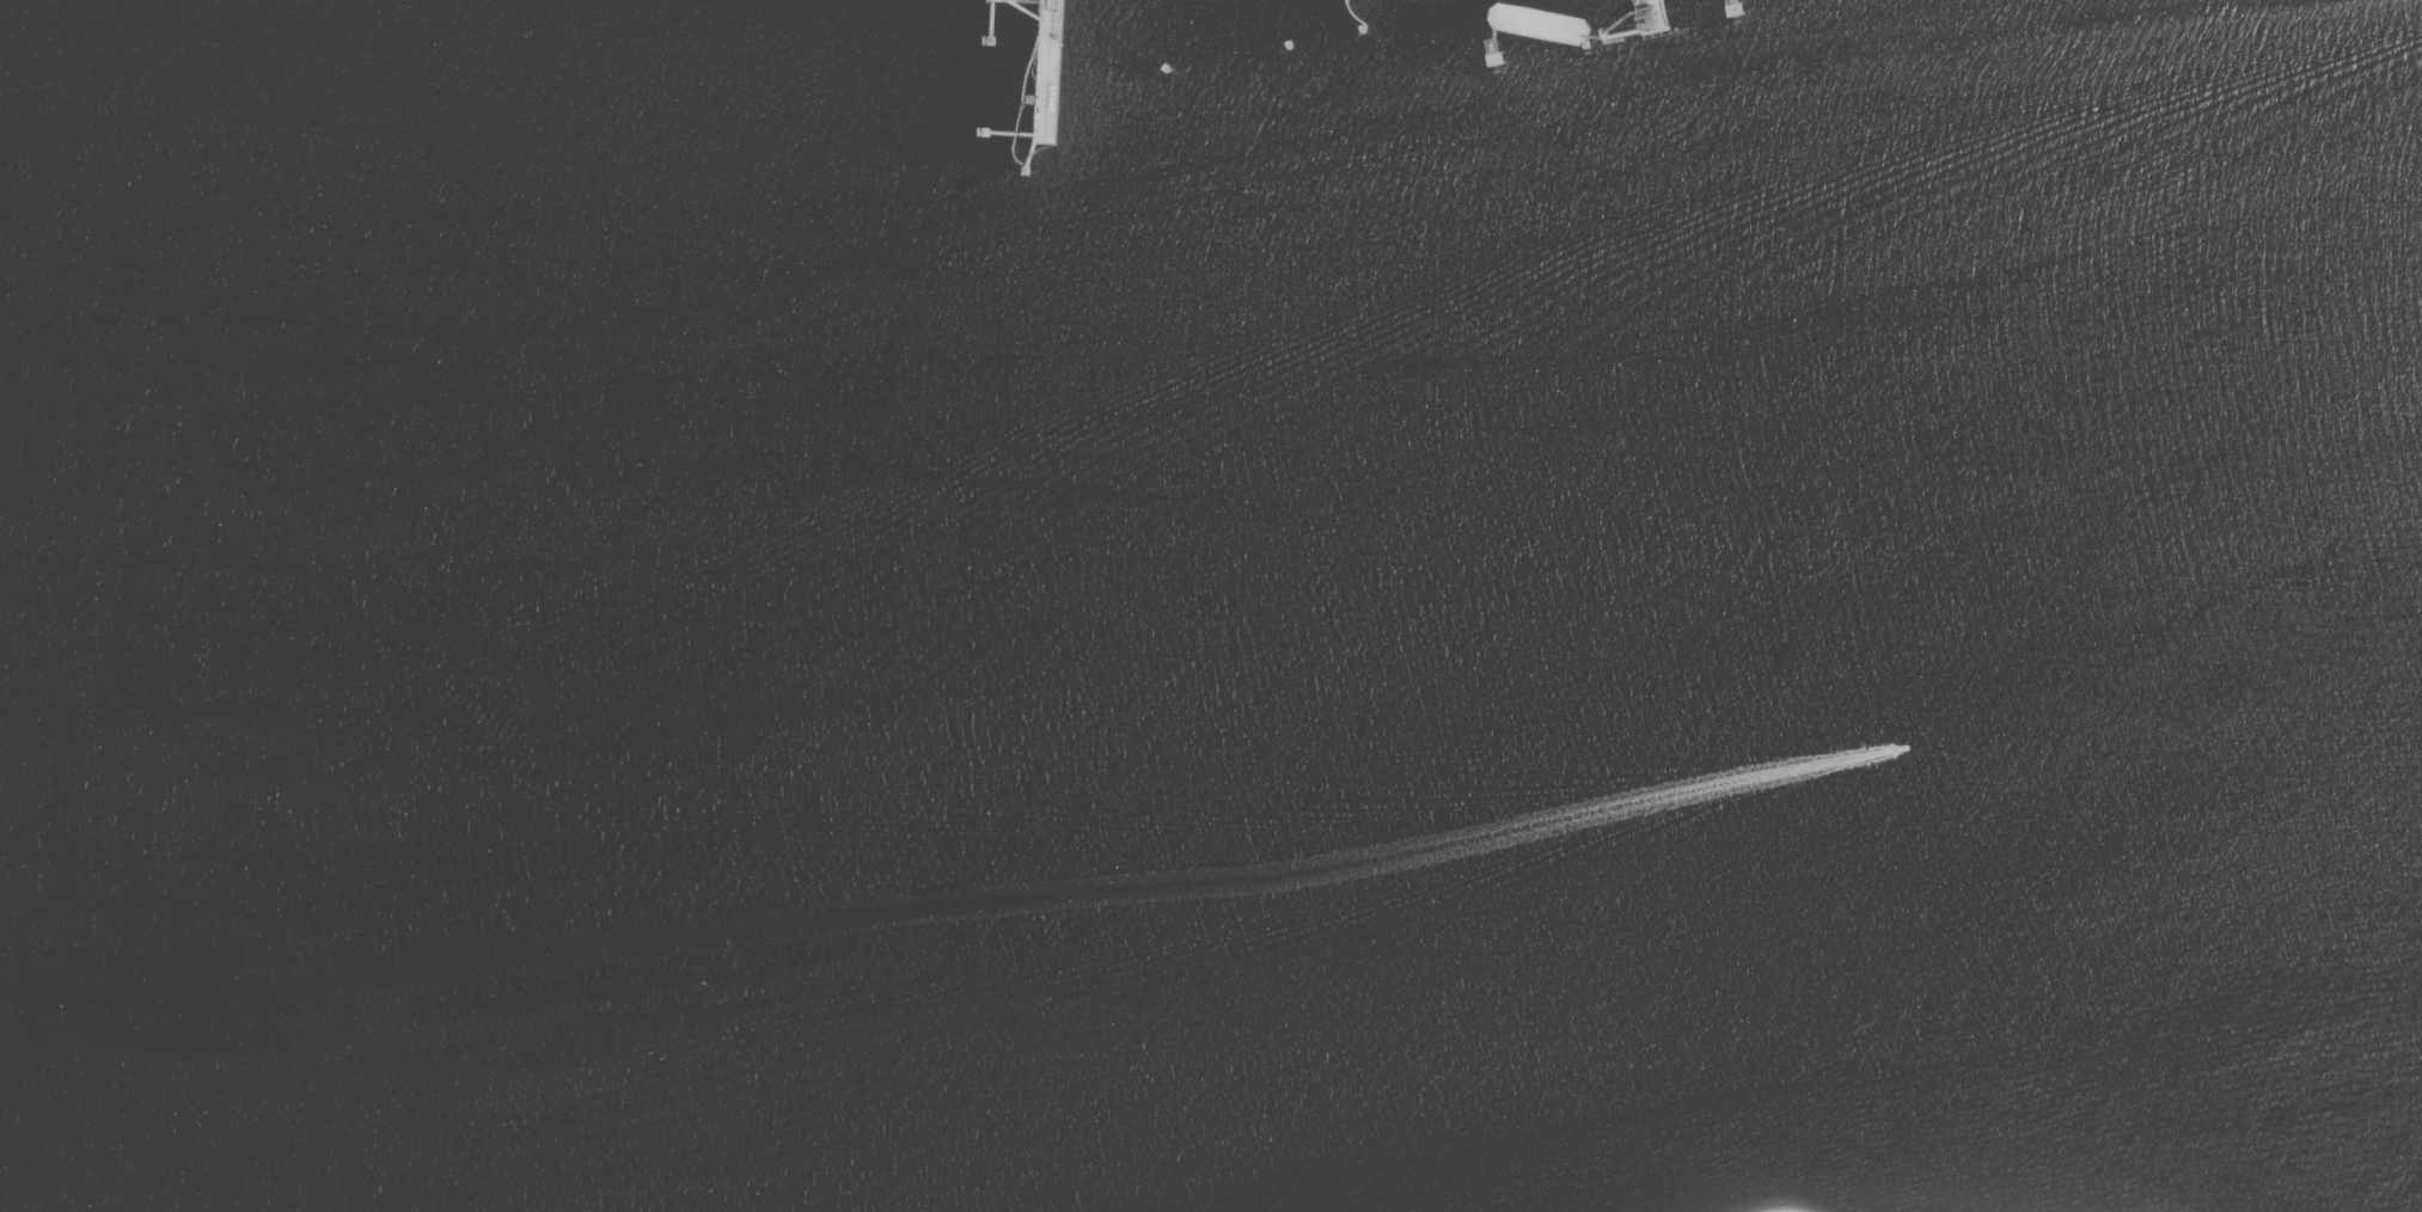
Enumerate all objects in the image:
pier: (1732, 8)
pier: (1643, 20)
pier: (1045, 71)

